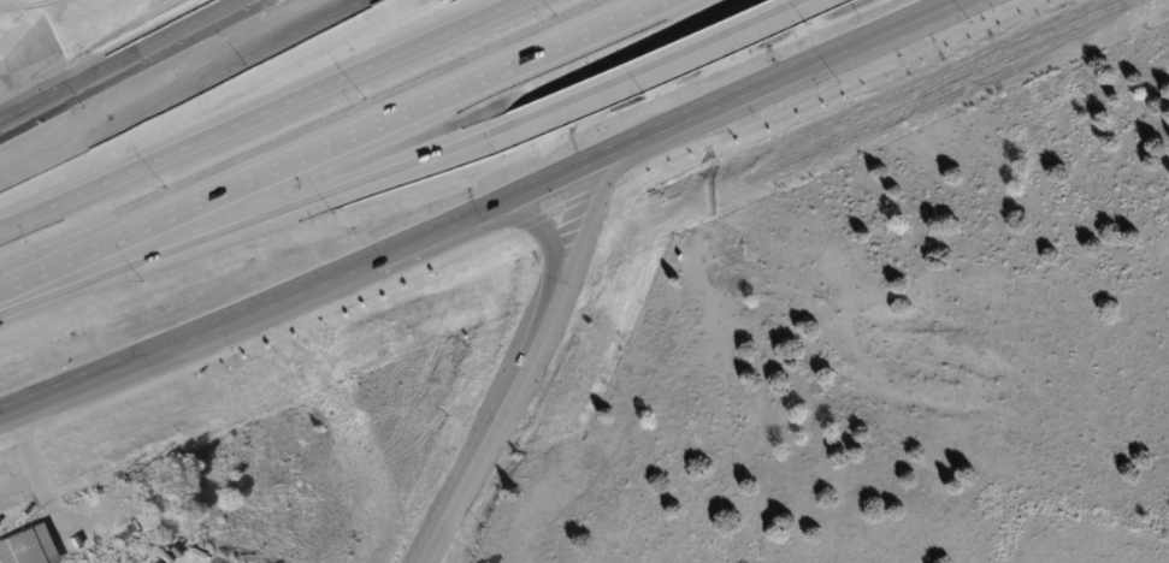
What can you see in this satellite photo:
road: (953, 2)
road: (588, 40)
road: (157, 42)
road: (663, 64)
road: (792, 73)
road: (36, 103)
road: (206, 103)
road: (252, 109)
road: (548, 180)
road: (248, 186)
road: (591, 209)
road: (260, 219)
road: (543, 225)
road: (518, 227)
road: (236, 318)
road: (491, 420)
building: (26, 546)

